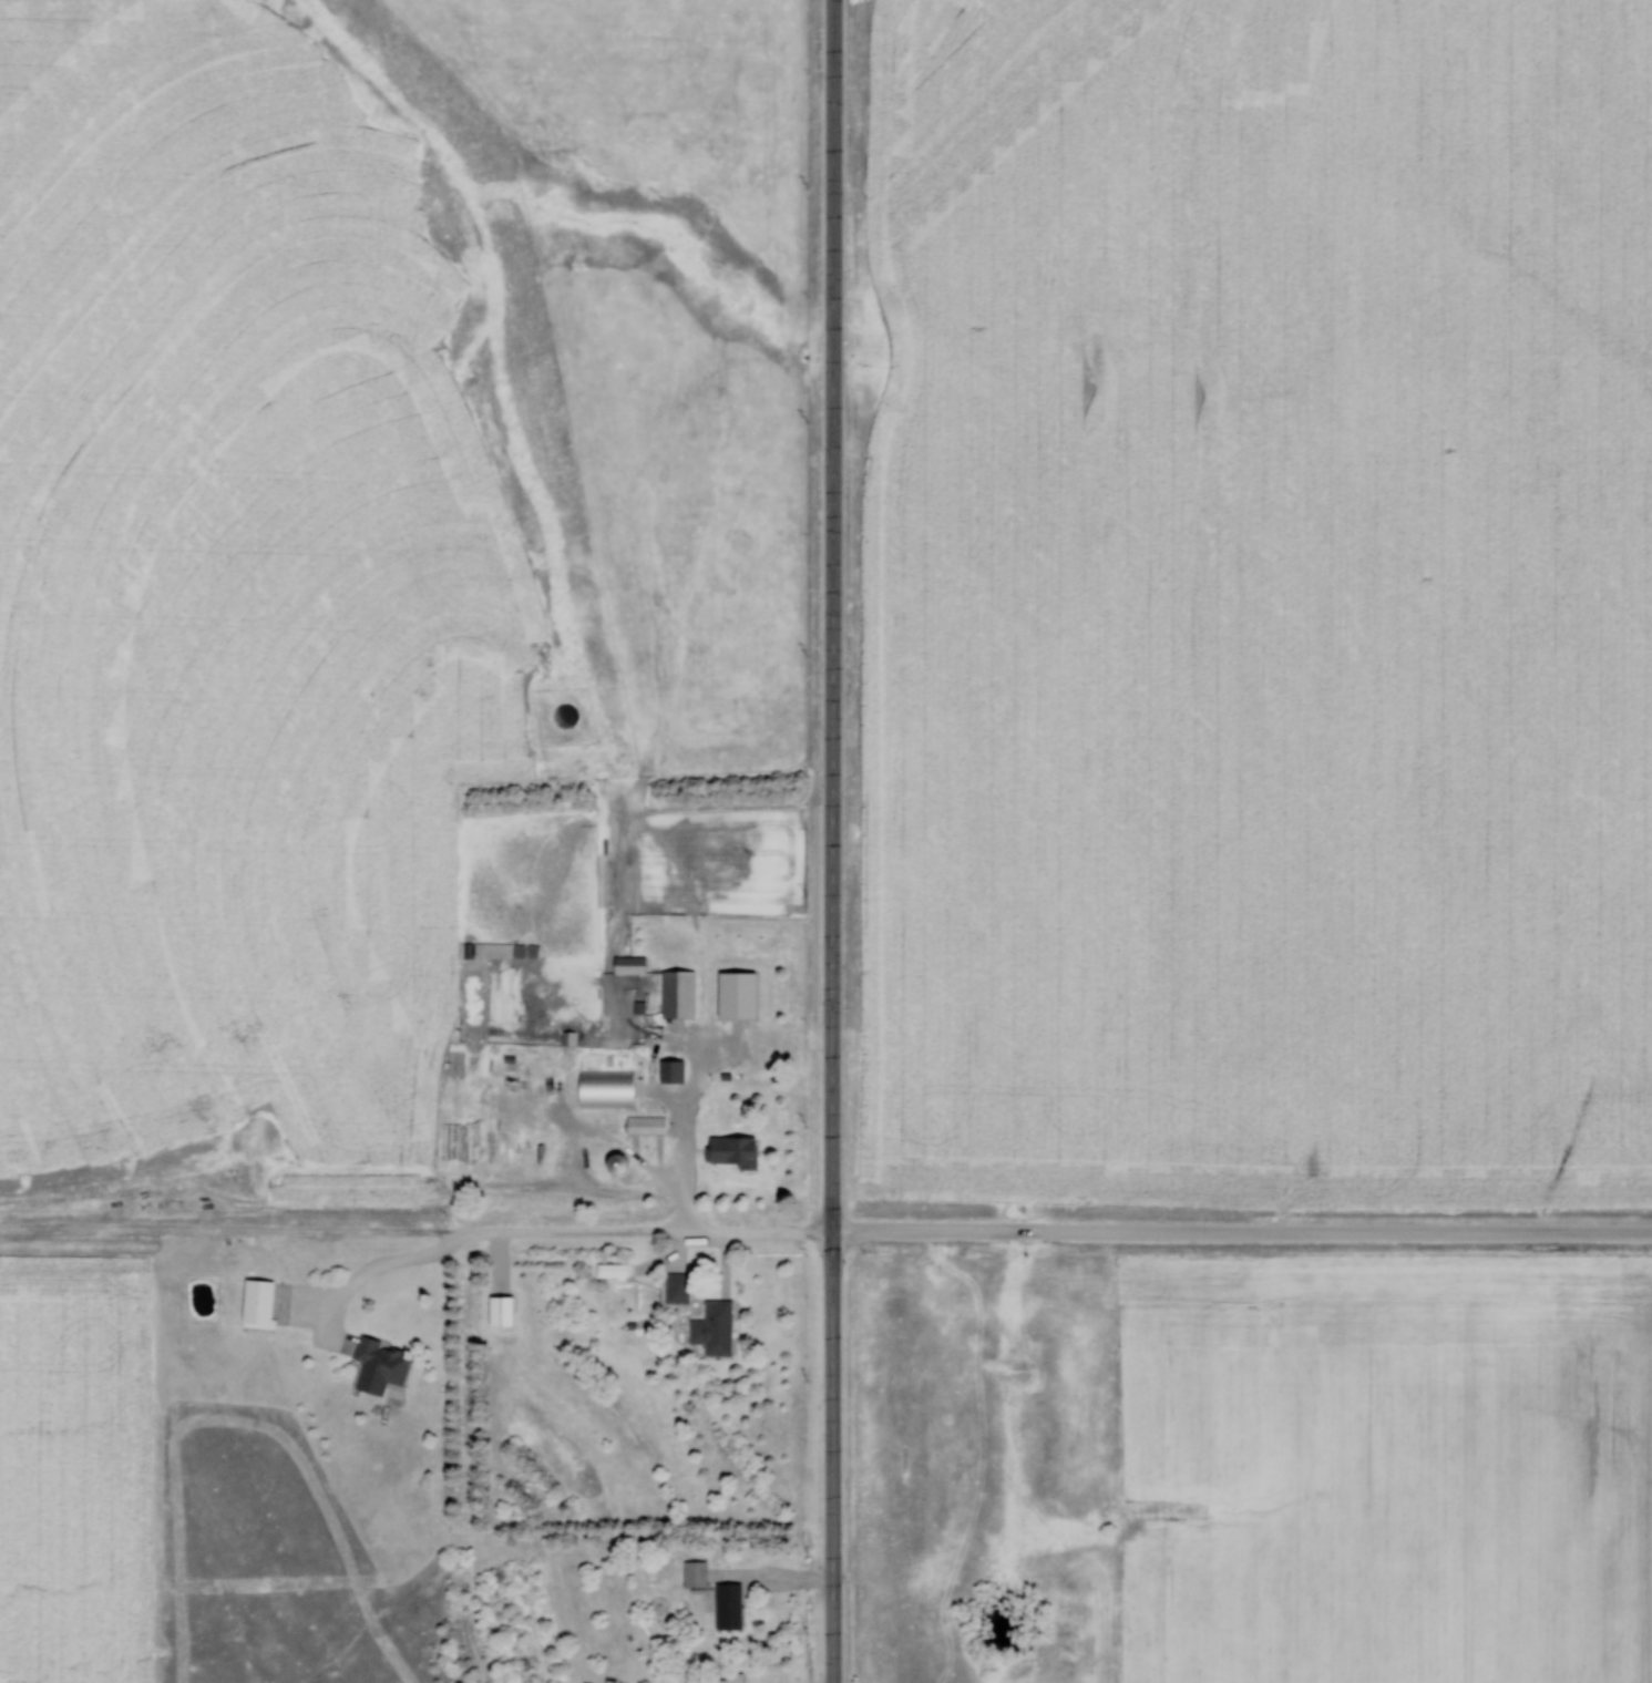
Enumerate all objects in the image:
road: (832, 841)
building: (486, 951)
building: (626, 965)
building: (680, 992)
building: (740, 992)
building: (670, 1070)
building: (610, 1086)
building: (644, 1125)
building: (727, 1150)
building: (613, 1164)
road: (691, 1183)
road: (415, 1234)
road: (1242, 1236)
road: (726, 1266)
building: (607, 1271)
road: (377, 1275)
building: (675, 1287)
building: (253, 1304)
building: (495, 1311)
building: (711, 1328)
building: (374, 1366)
building: (699, 1572)
road: (773, 1574)
building: (733, 1604)
building: (708, 1679)

